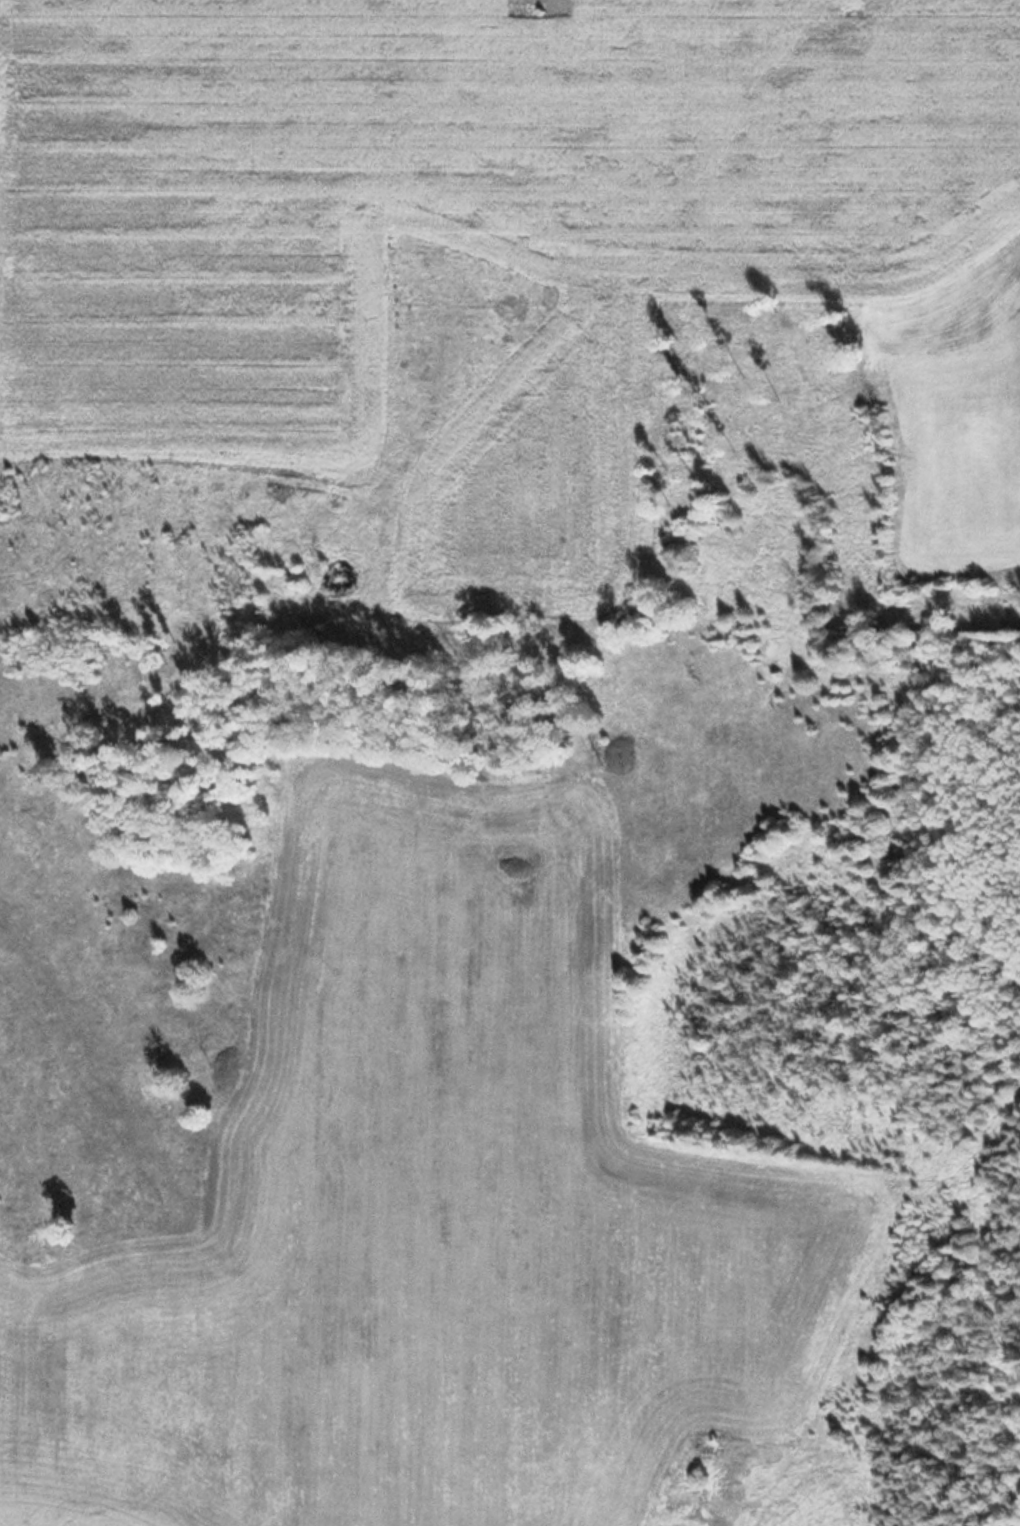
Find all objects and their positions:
road: (656, 1518)

